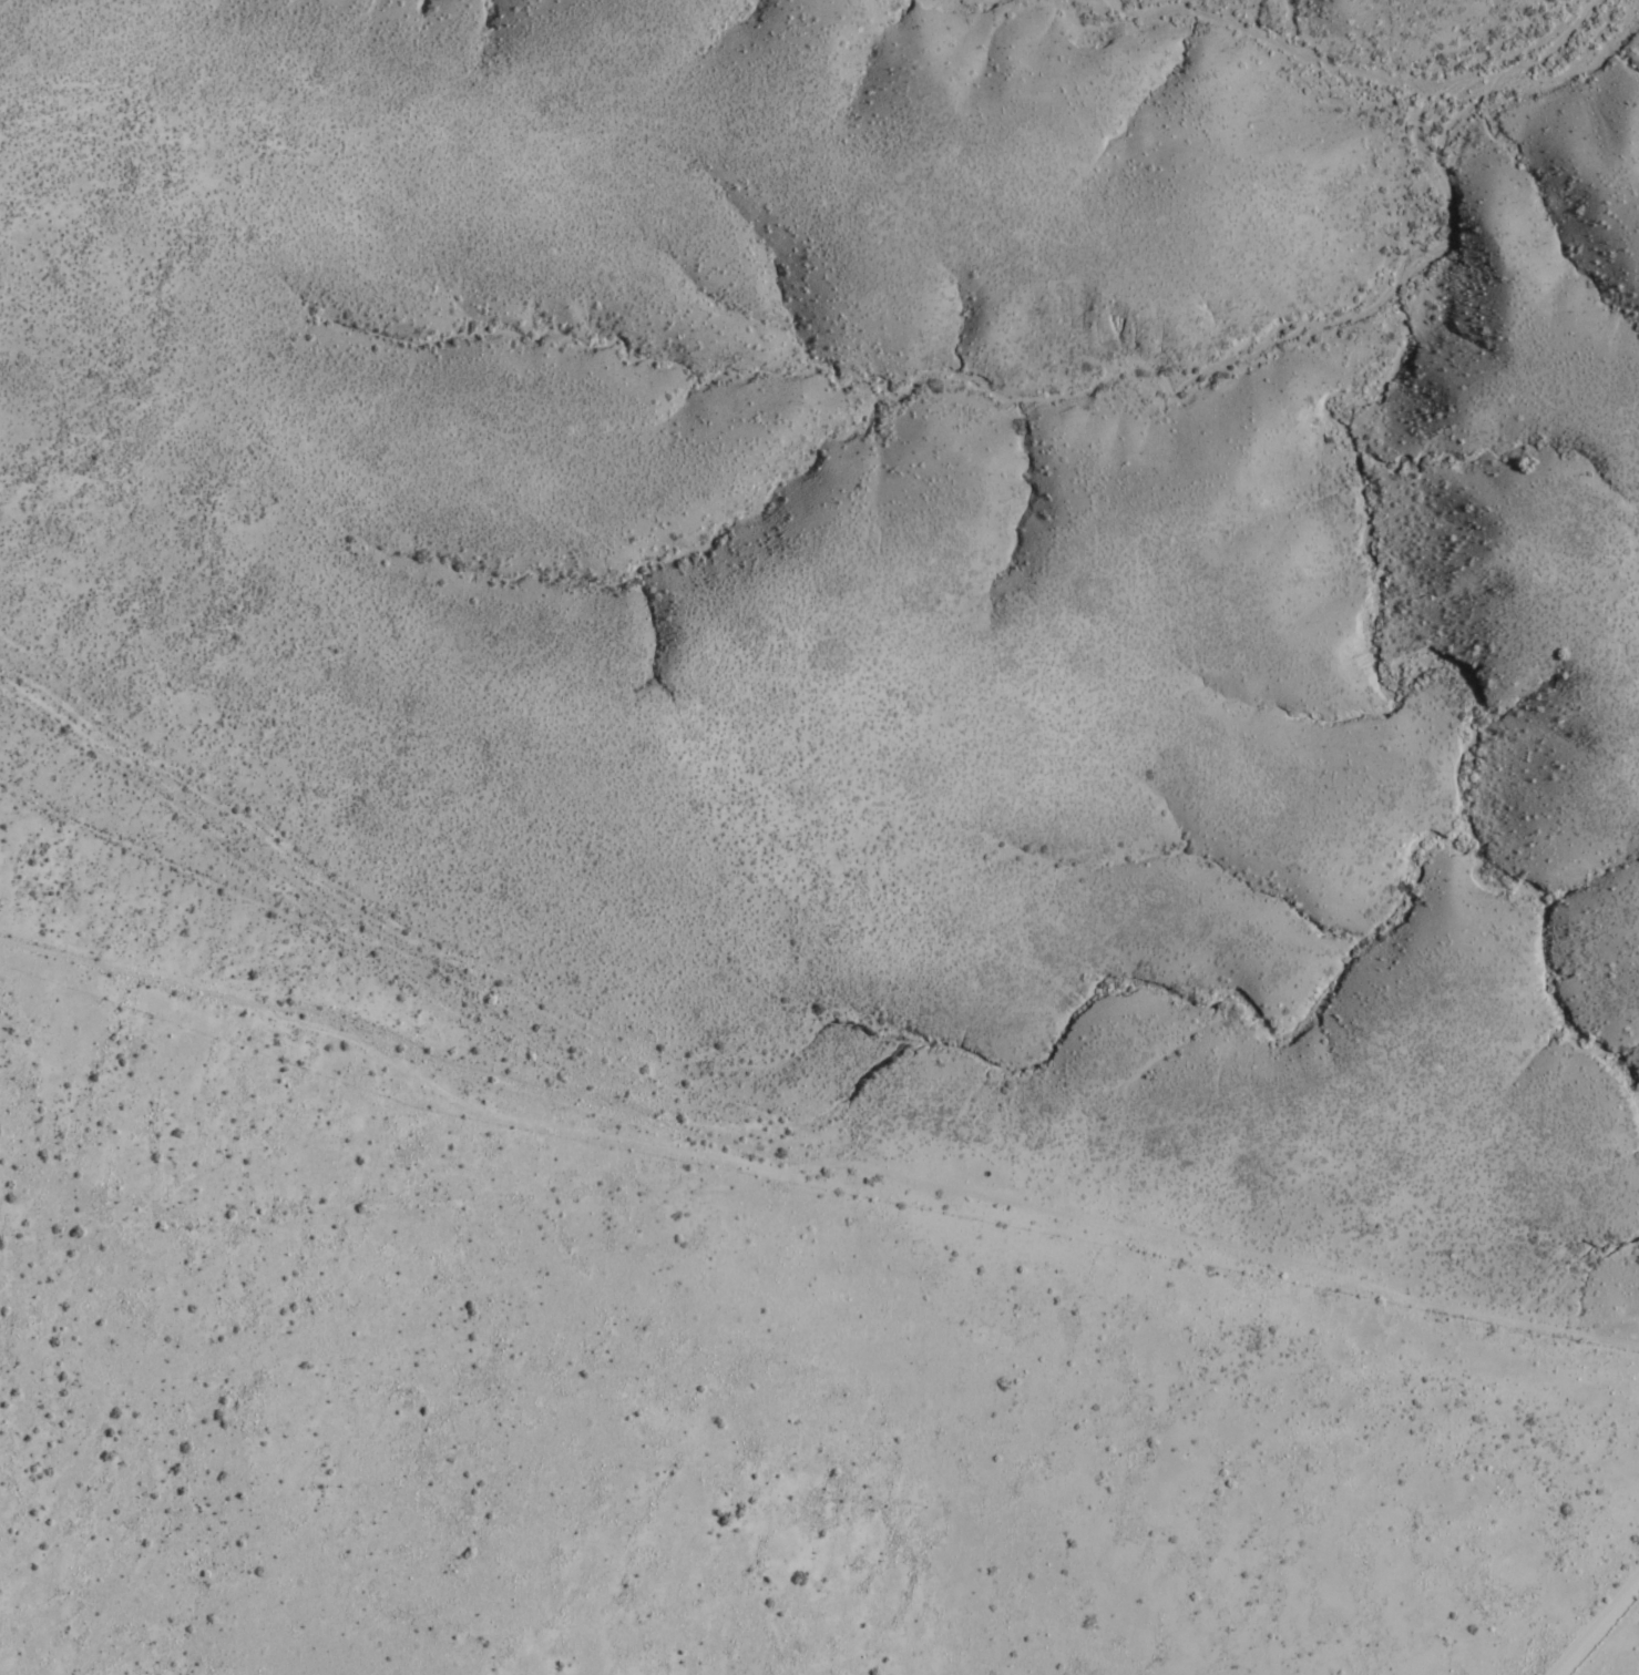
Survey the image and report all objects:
road: (811, 1188)
road: (1597, 1626)

